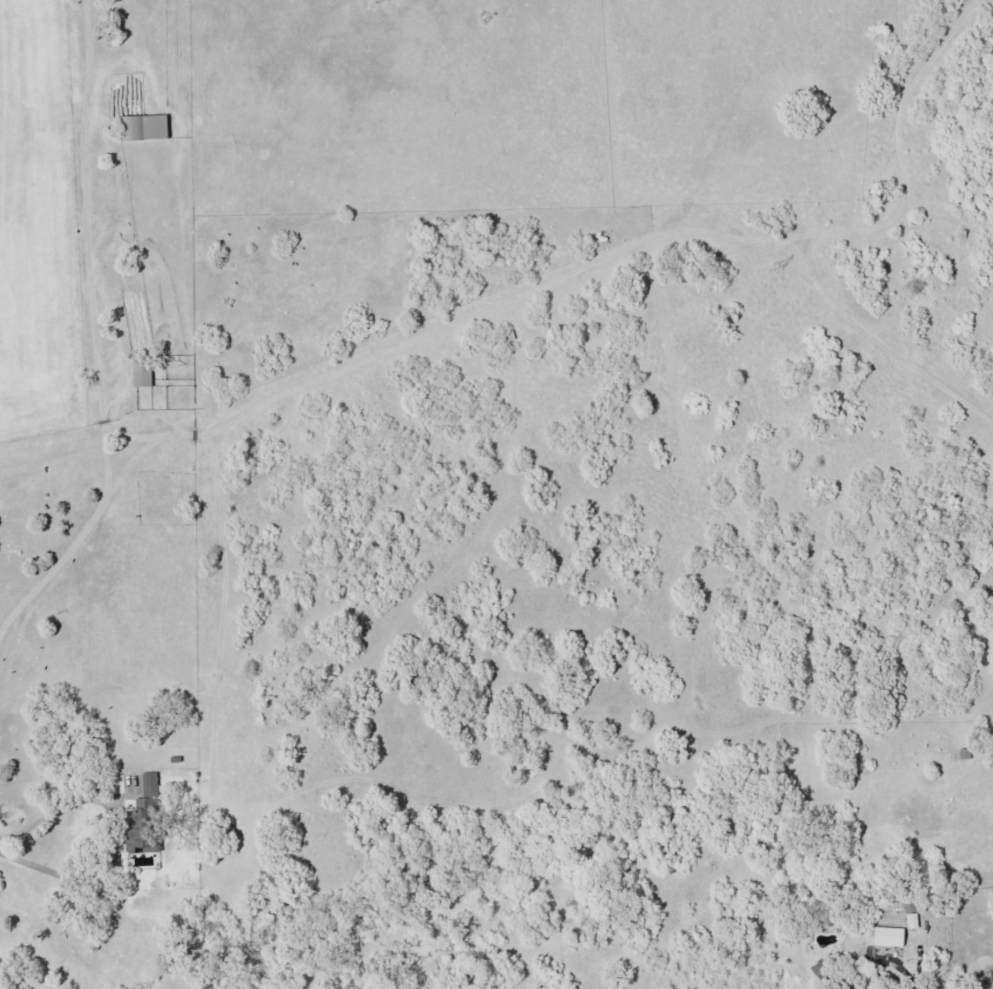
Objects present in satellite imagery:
power tower: (394, 0)
building: (143, 127)
power tower: (757, 270)
building: (141, 369)
road: (2, 619)
building: (149, 784)
building: (138, 833)
building: (888, 937)
building: (821, 971)

